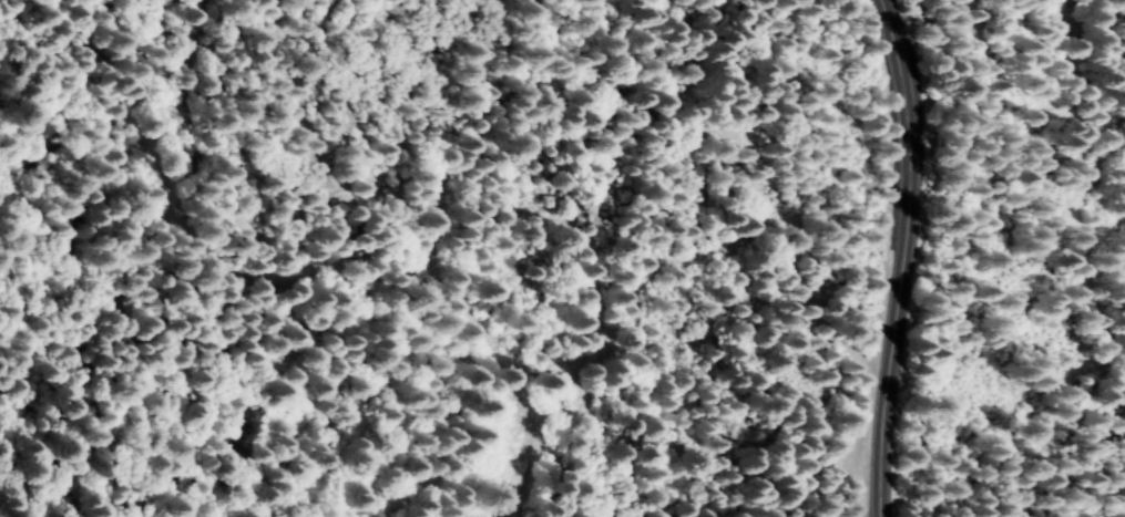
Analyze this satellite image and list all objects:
road: (907, 257)

